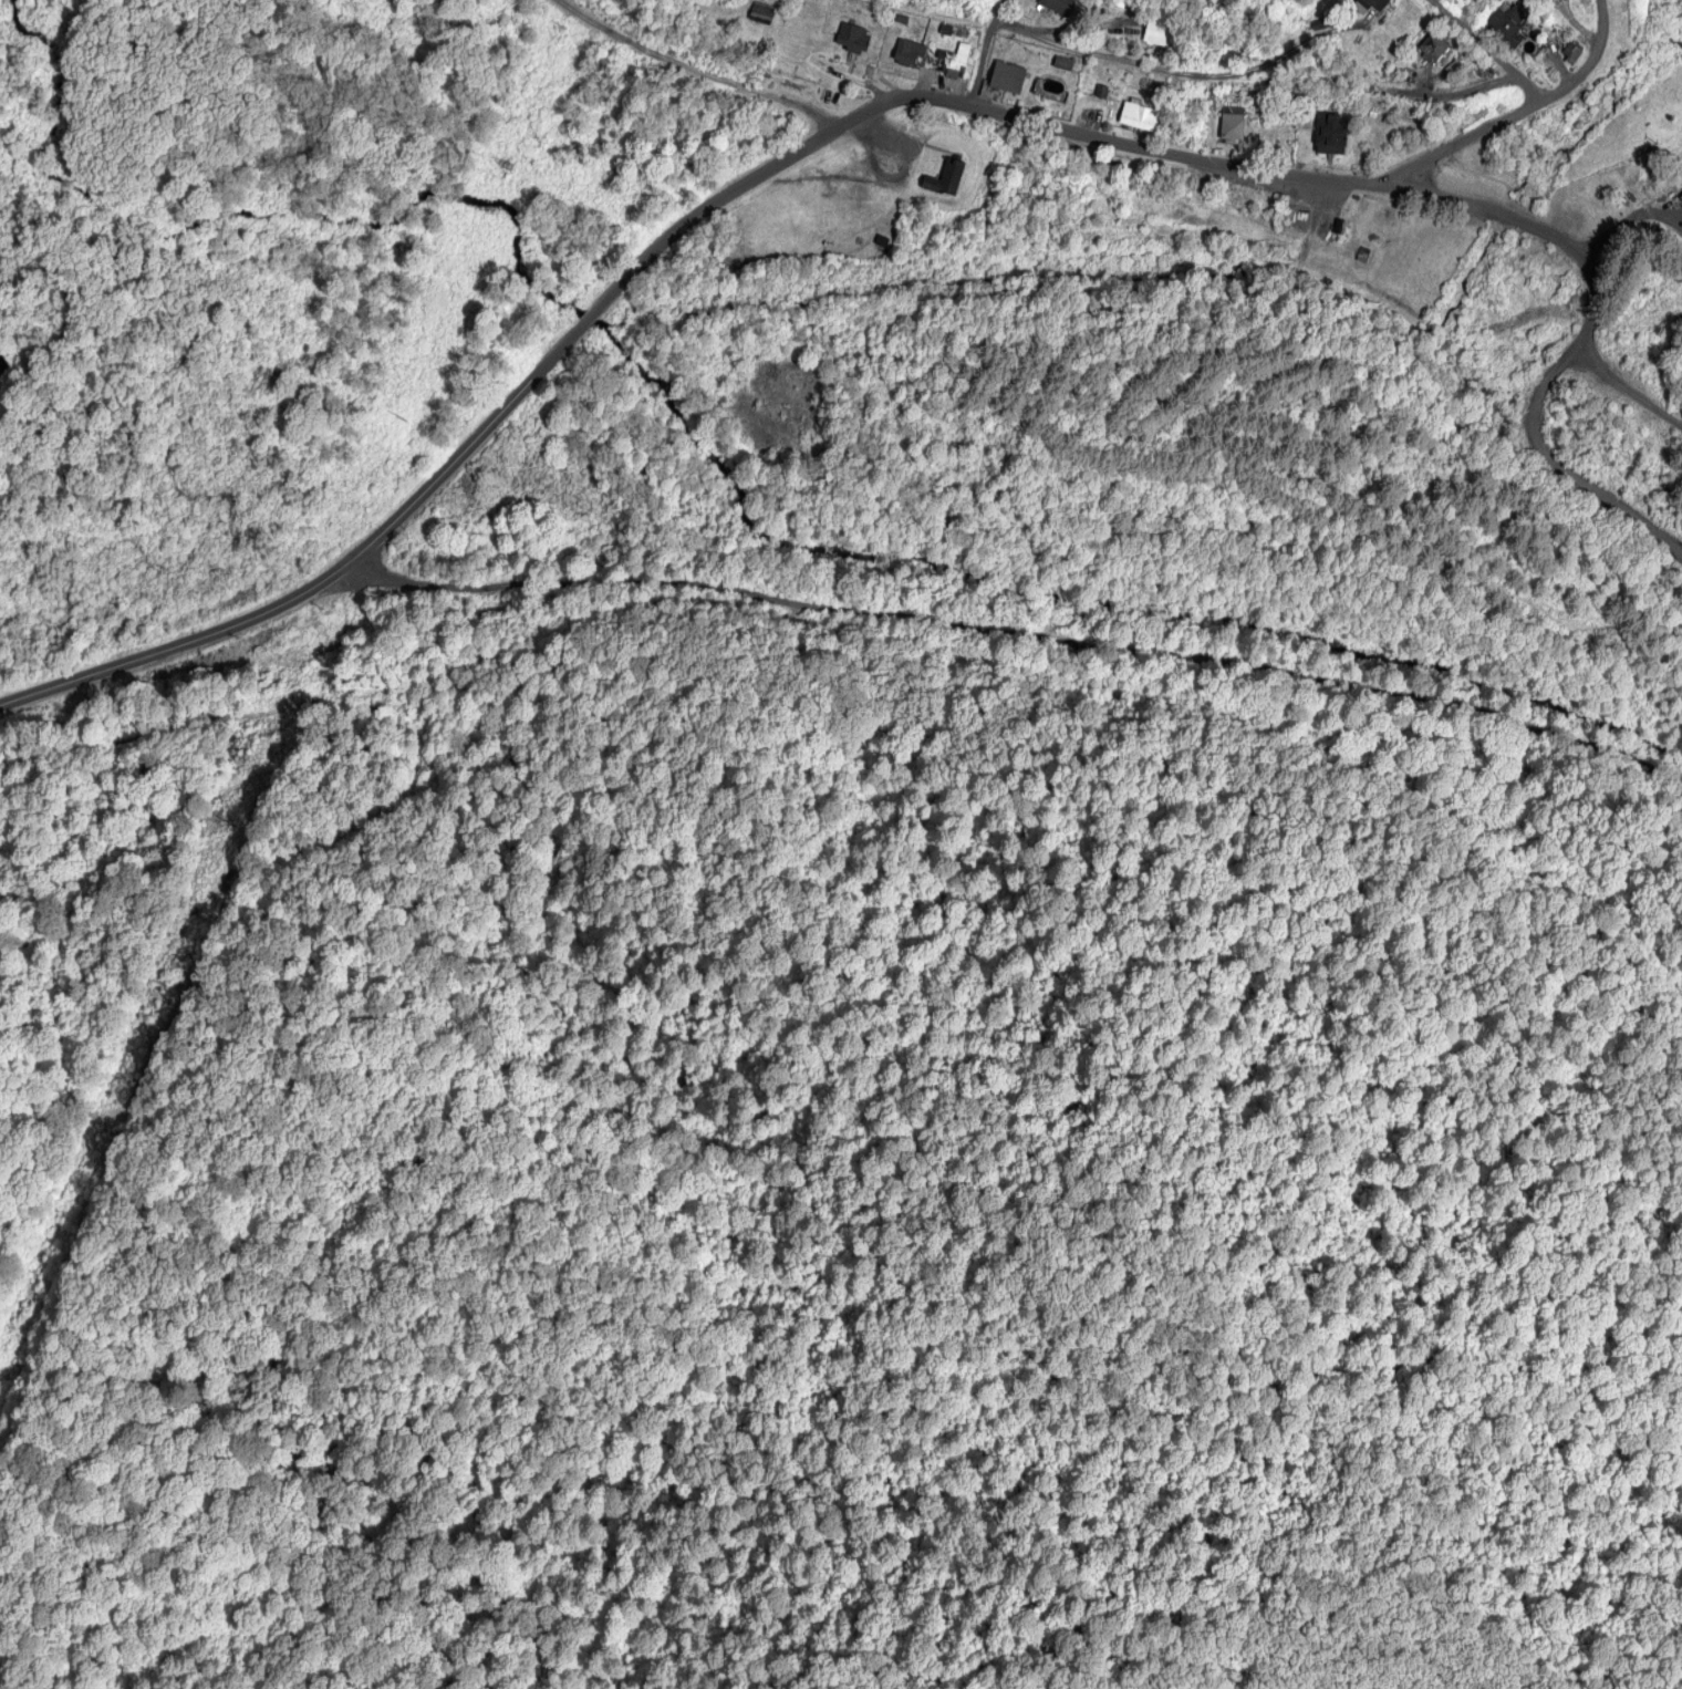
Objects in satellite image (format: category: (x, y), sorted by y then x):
building: (1379, 3)
building: (1058, 6)
building: (764, 12)
building: (1507, 25)
building: (1160, 33)
building: (854, 39)
building: (1435, 44)
road: (983, 48)
road: (1486, 51)
building: (911, 53)
road: (1586, 59)
building: (956, 61)
road: (1161, 66)
building: (1009, 77)
building: (1140, 116)
road: (1034, 117)
building: (1234, 128)
building: (1332, 133)
road: (1468, 134)
building: (948, 178)
building: (1681, 198)
road: (581, 324)
road: (1585, 332)
road: (1020, 631)
road: (178, 642)

